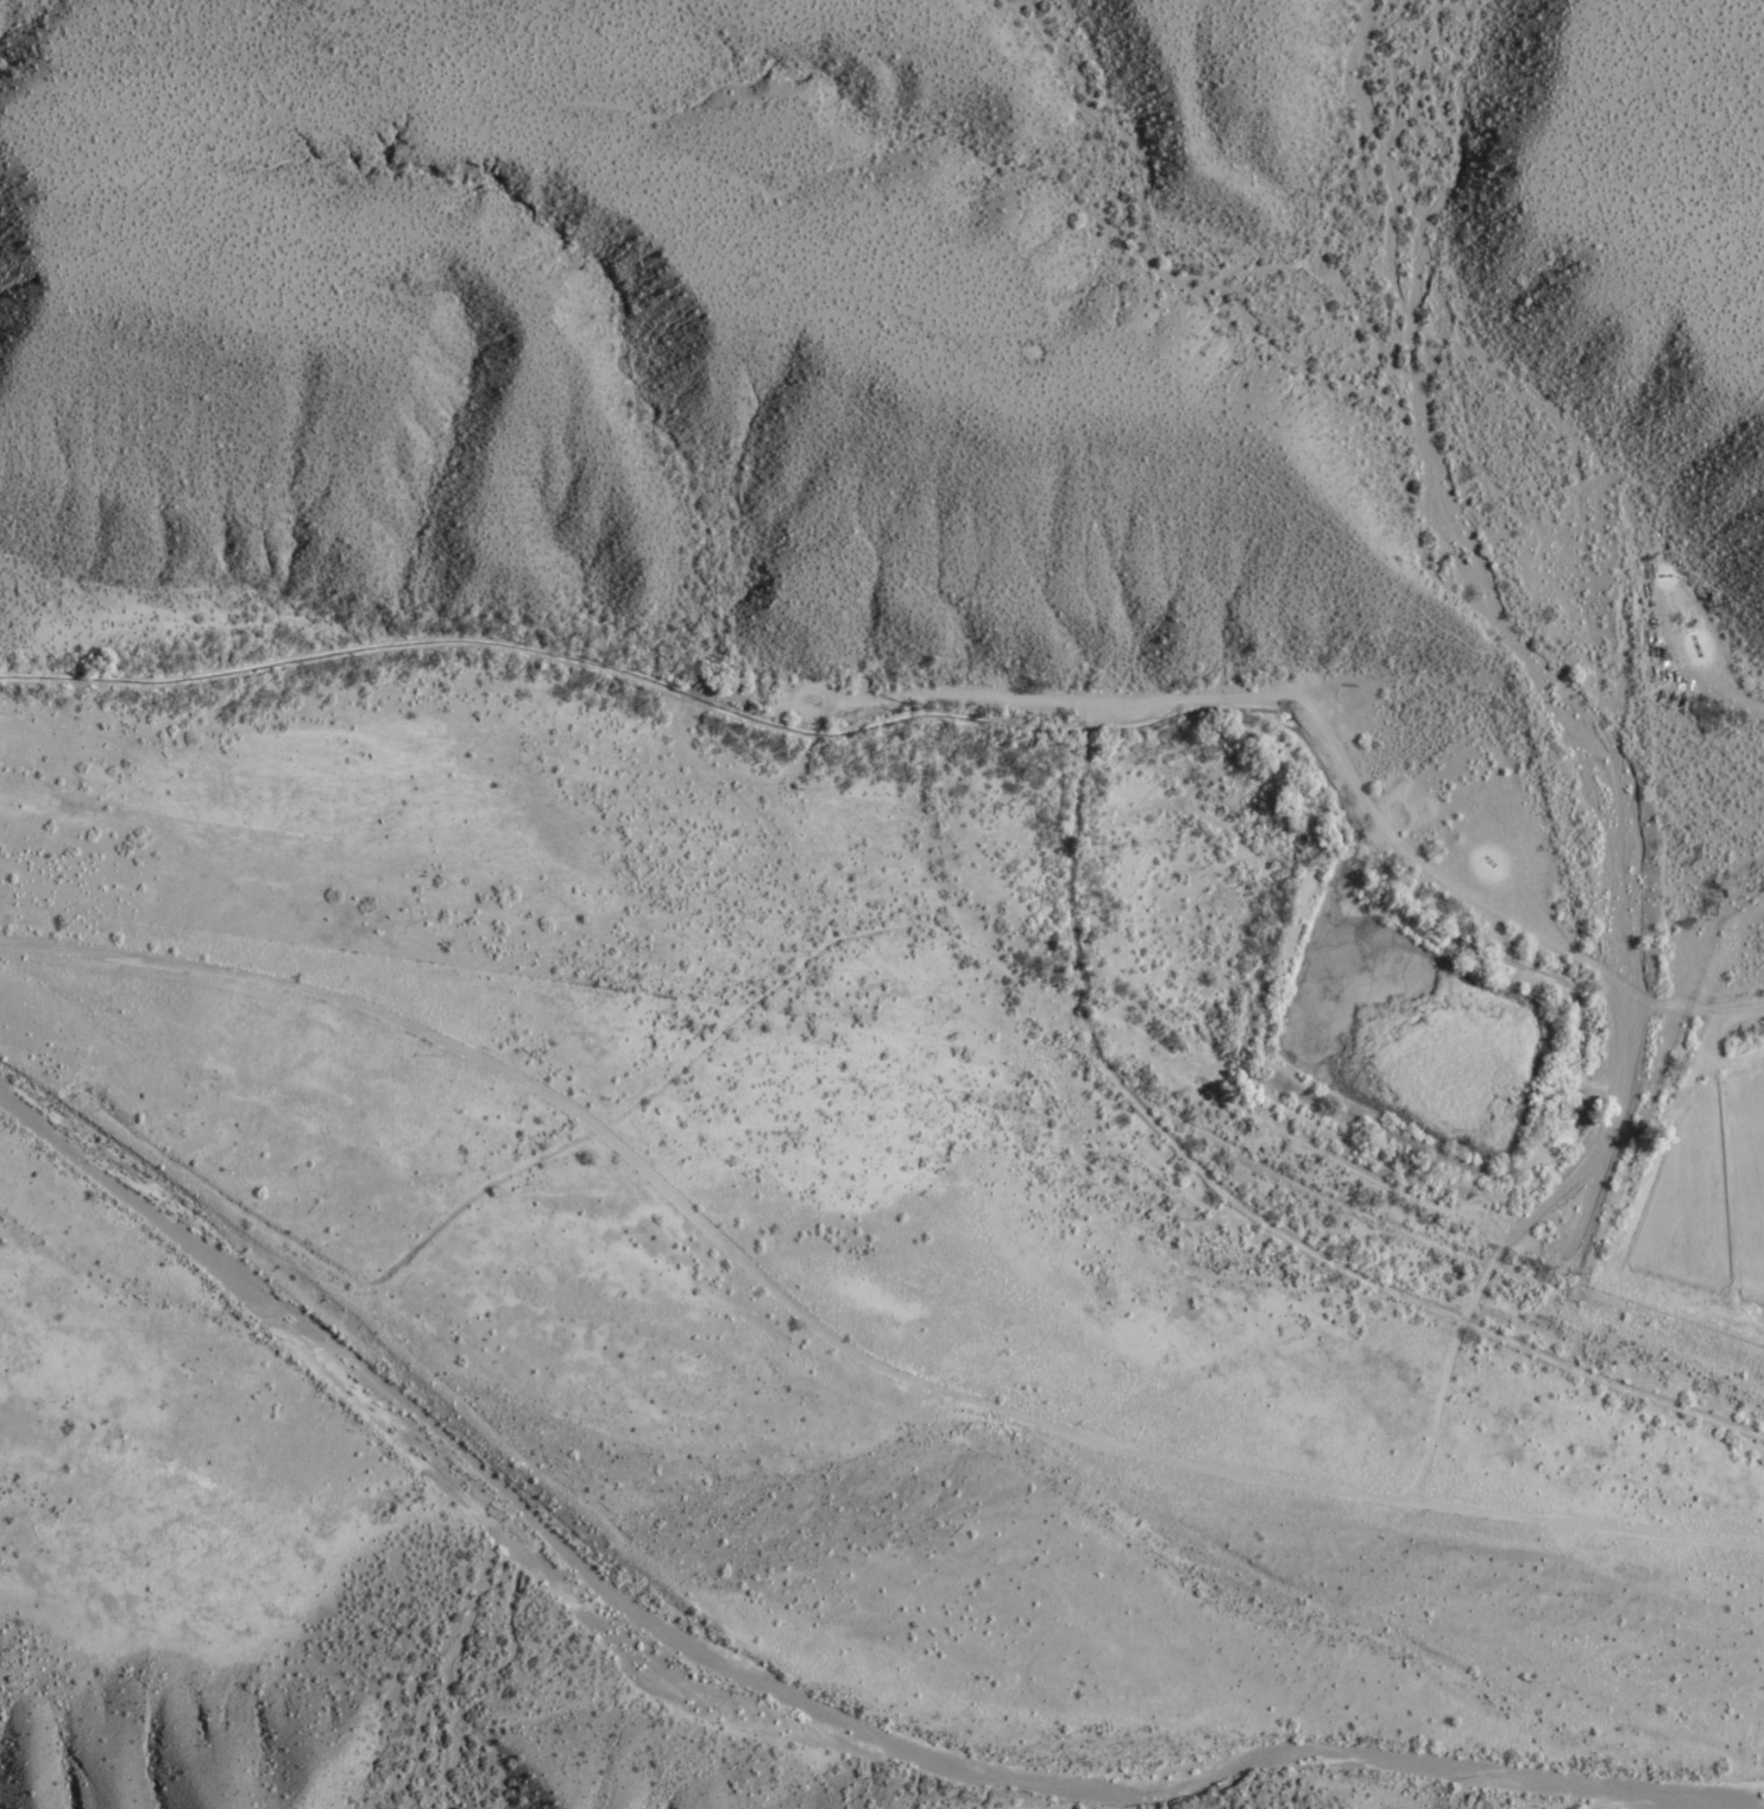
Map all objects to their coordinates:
road: (1283, 1326)
road: (834, 1344)

